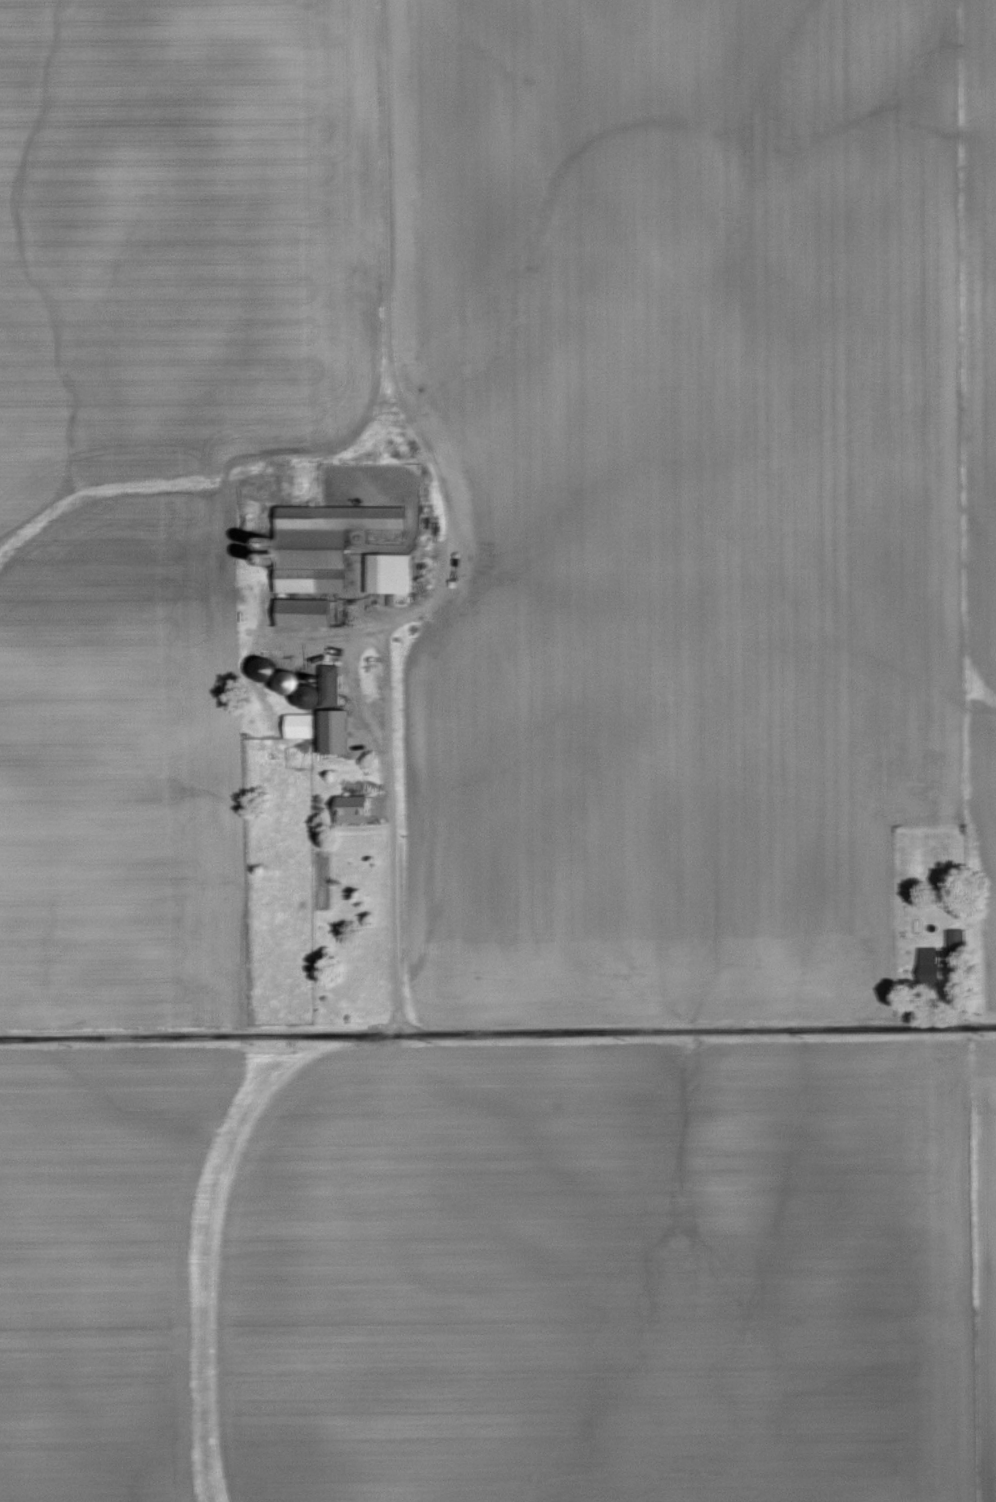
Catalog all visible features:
road: (388, 387)
building: (319, 544)
building: (388, 577)
building: (299, 613)
road: (351, 696)
building: (319, 730)
building: (346, 813)
road: (385, 829)
building: (954, 901)
building: (951, 941)
building: (927, 965)
road: (951, 990)
road: (498, 1031)

